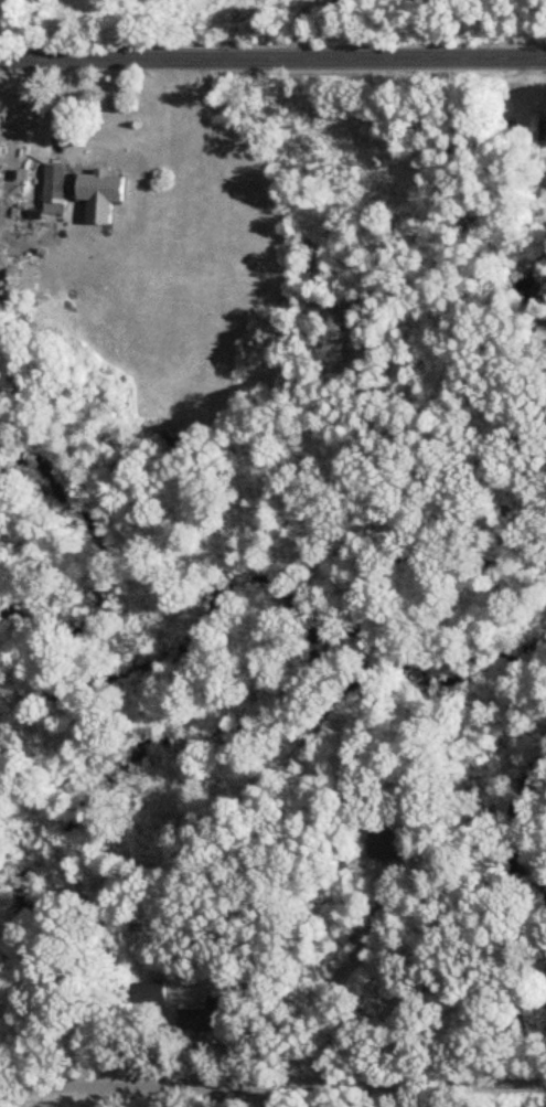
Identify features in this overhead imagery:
road: (272, 57)
building: (534, 140)
building: (108, 164)
building: (55, 184)
building: (540, 339)
road: (341, 981)
building: (148, 992)
building: (204, 1018)
road: (272, 1085)
road: (41, 1096)

